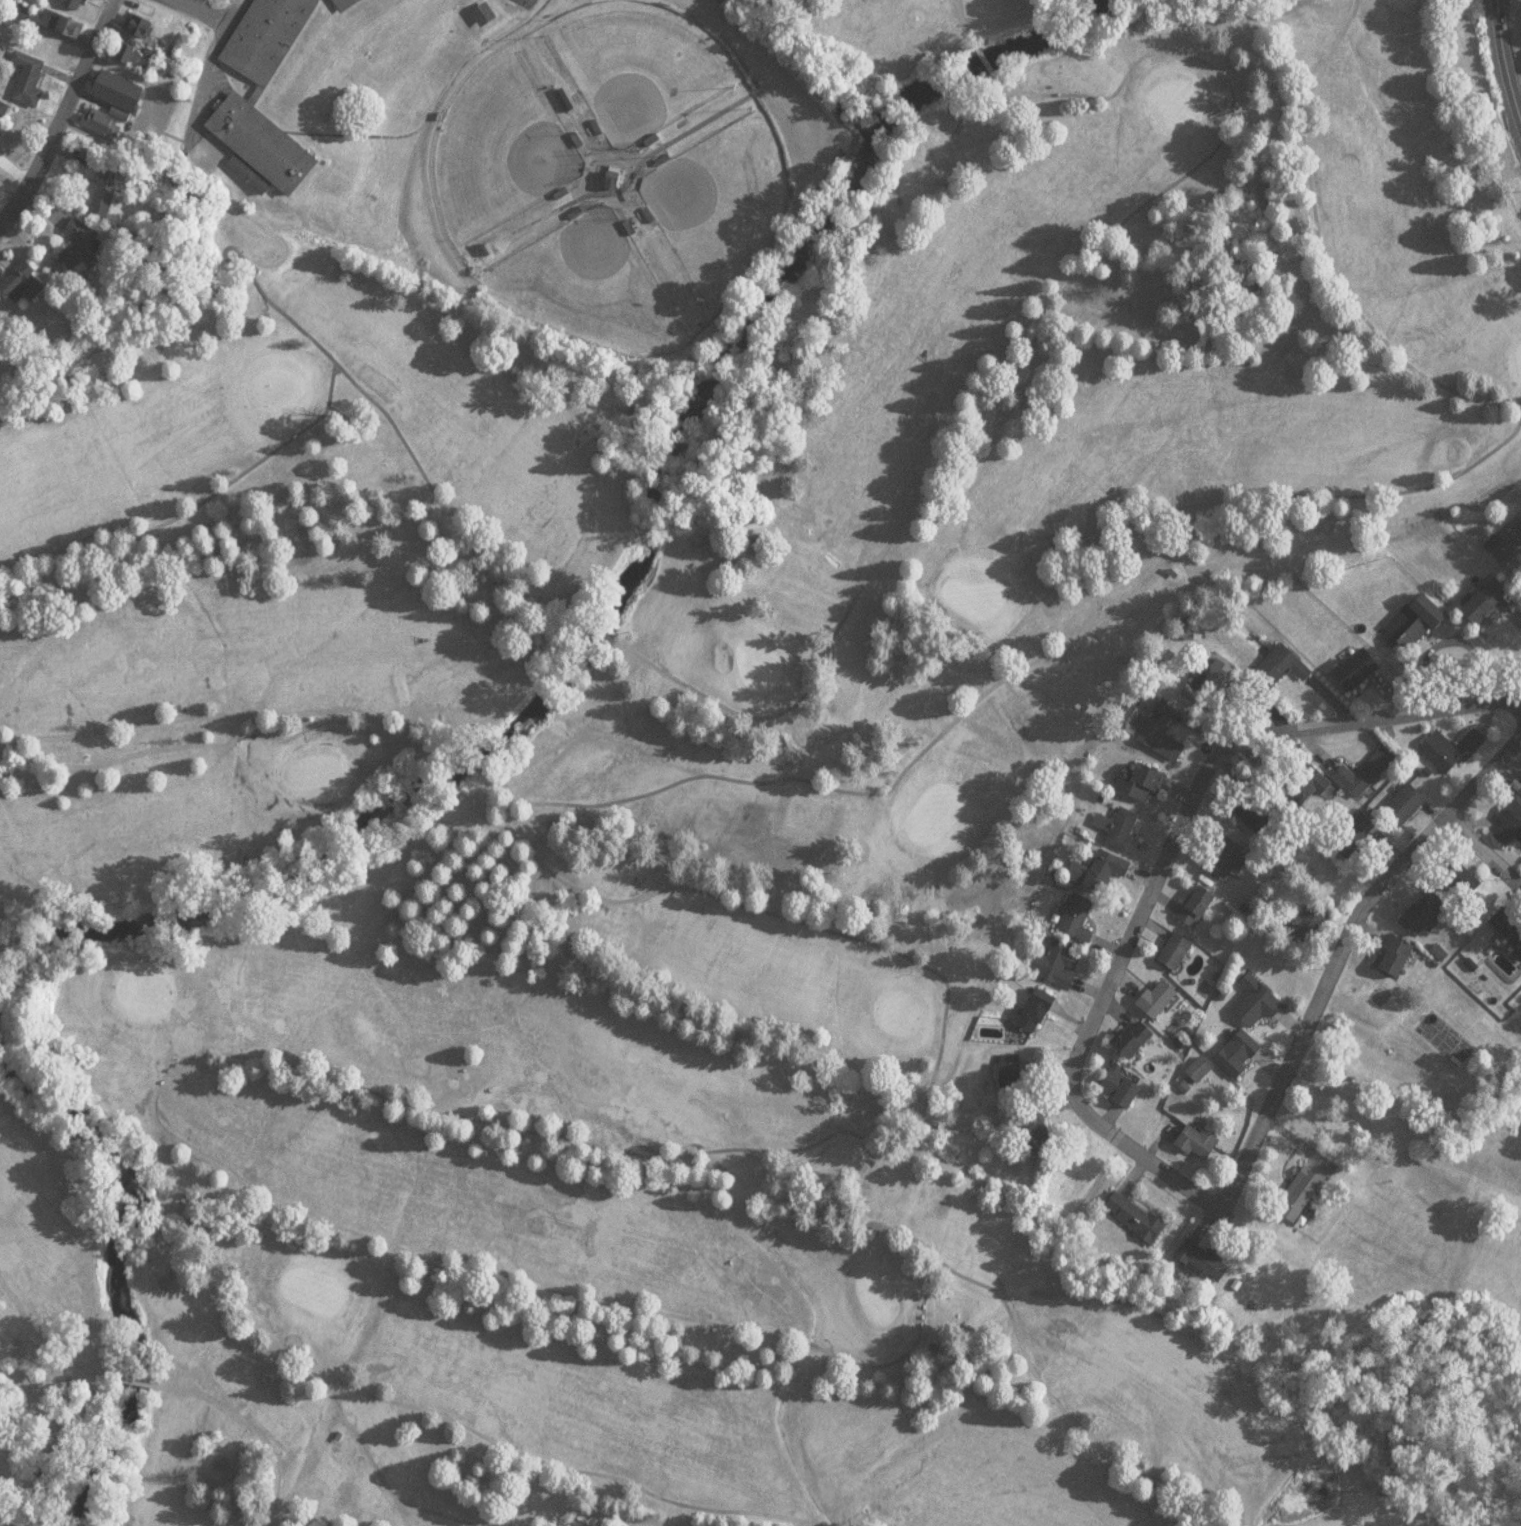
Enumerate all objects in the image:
building: (227, 0)
building: (72, 6)
building: (347, 6)
road: (205, 11)
building: (486, 21)
building: (55, 28)
building: (141, 30)
road: (966, 33)
building: (270, 41)
building: (59, 56)
building: (130, 57)
park: (640, 61)
road: (1503, 64)
road: (766, 68)
road: (204, 78)
road: (996, 78)
building: (30, 87)
building: (121, 97)
building: (1, 108)
road: (61, 115)
building: (104, 129)
park: (499, 141)
building: (263, 153)
building: (613, 176)
building: (616, 183)
building: (106, 198)
park: (722, 200)
road: (223, 249)
building: (84, 253)
park: (590, 285)
building: (25, 289)
road: (1004, 352)
road: (249, 466)
road: (437, 502)
road: (1193, 512)
building: (1485, 602)
road: (593, 627)
building: (1408, 630)
building: (1355, 670)
building: (1211, 691)
building: (1161, 738)
road: (420, 743)
building: (1449, 749)
road: (441, 770)
building: (1363, 771)
road: (1484, 771)
road: (1203, 774)
building: (1146, 789)
building: (1520, 793)
park: (684, 799)
building: (1403, 803)
building: (1509, 823)
building: (1124, 837)
building: (1351, 837)
road: (1484, 846)
building: (1231, 863)
building: (1110, 876)
building: (1462, 882)
building: (1424, 910)
building: (1198, 912)
building: (1307, 921)
building: (1076, 923)
building: (1178, 957)
building: (1061, 970)
road: (1315, 999)
building: (1160, 1004)
building: (1259, 1011)
building: (1036, 1014)
building: (1134, 1046)
building: (1238, 1062)
building: (1200, 1075)
building: (1010, 1081)
road: (355, 1086)
building: (1123, 1093)
building: (1036, 1141)
building: (1200, 1148)
road: (1141, 1151)
building: (1299, 1193)
building: (1137, 1223)
building: (1206, 1267)
road: (37, 1331)
road: (284, 1336)
road: (108, 1375)
road: (1065, 1413)
road: (241, 1418)
road: (550, 1464)
road: (376, 1470)

